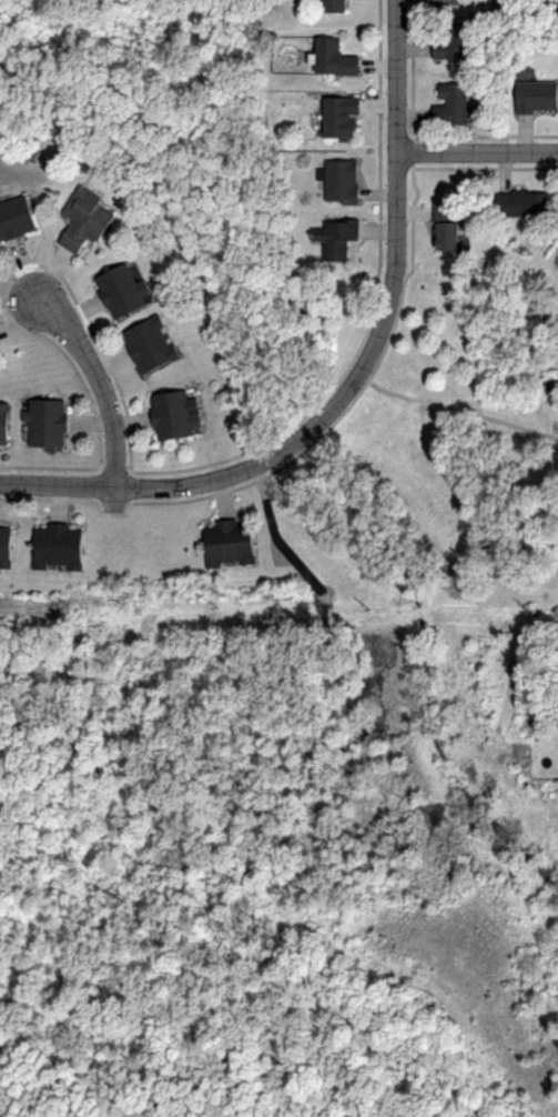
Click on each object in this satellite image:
building: (452, 2)
building: (333, 6)
building: (454, 43)
building: (333, 58)
building: (535, 95)
building: (449, 104)
building: (339, 115)
road: (478, 151)
building: (341, 182)
building: (524, 203)
building: (14, 218)
building: (84, 219)
building: (444, 227)
building: (336, 238)
building: (122, 290)
road: (379, 330)
building: (148, 344)
road: (97, 383)
building: (172, 415)
building: (45, 422)
building: (2, 423)
road: (58, 483)
building: (229, 542)
building: (55, 545)
building: (4, 549)
building: (556, 630)

